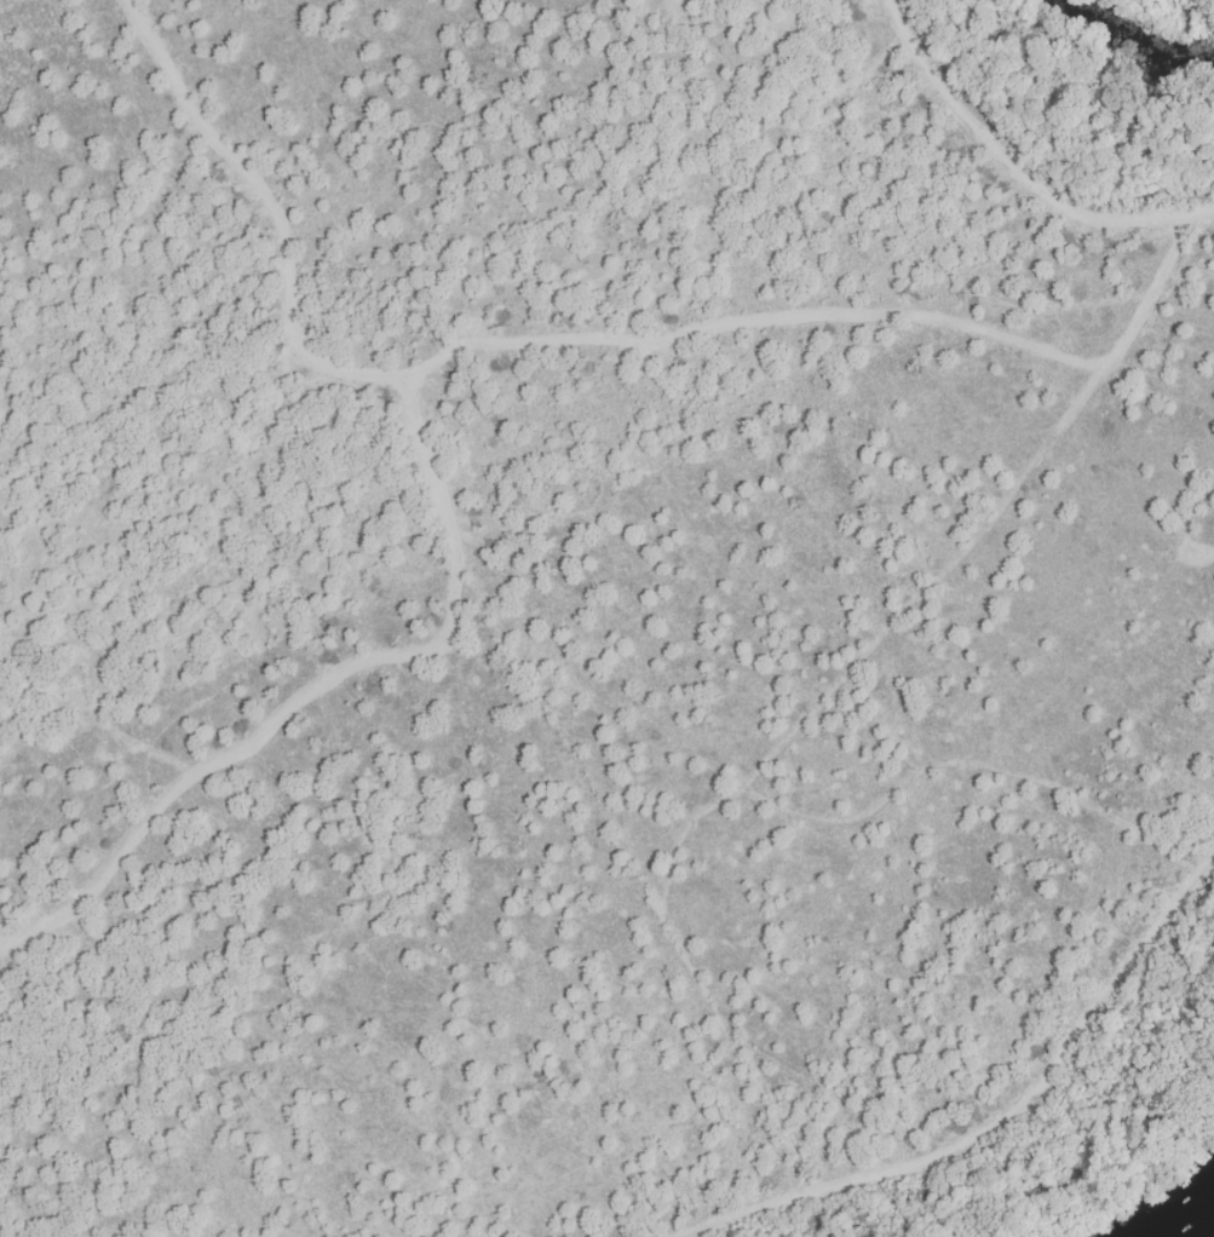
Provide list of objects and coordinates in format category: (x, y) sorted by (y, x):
river: (1196, 1222)

